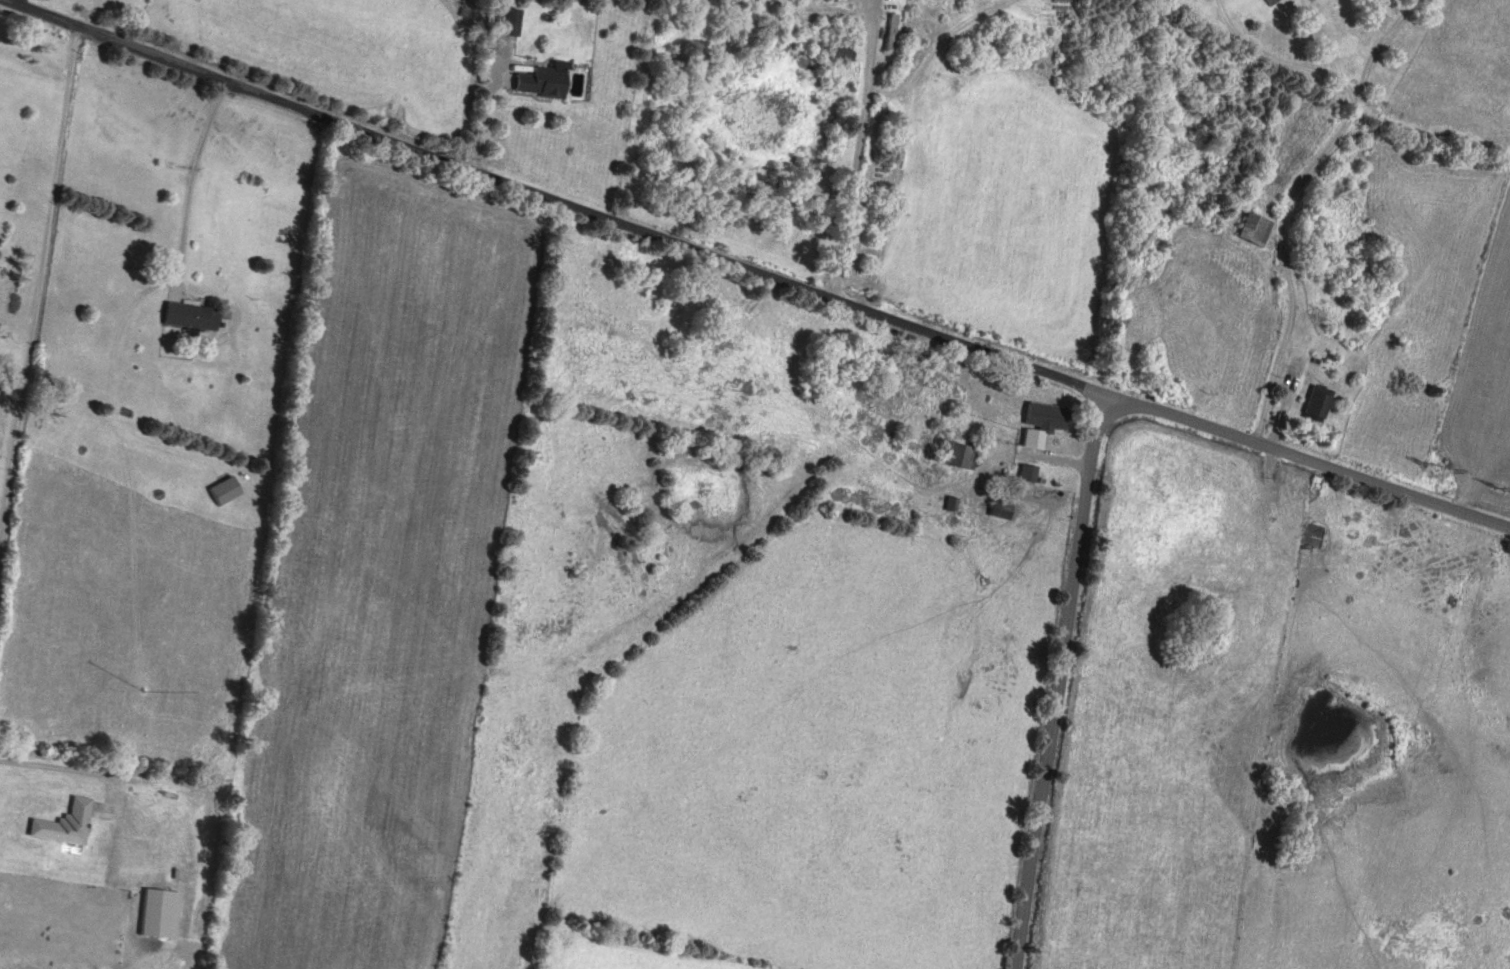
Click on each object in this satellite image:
building: (1267, 1)
building: (731, 12)
building: (887, 31)
building: (536, 76)
road: (859, 149)
road: (549, 197)
road: (1338, 217)
building: (1250, 226)
road: (46, 277)
building: (188, 314)
building: (912, 365)
building: (1314, 400)
building: (1044, 412)
building: (957, 454)
road: (1304, 455)
building: (1025, 471)
building: (219, 489)
building: (951, 502)
building: (998, 507)
road: (1056, 680)
building: (61, 822)
building: (166, 854)

